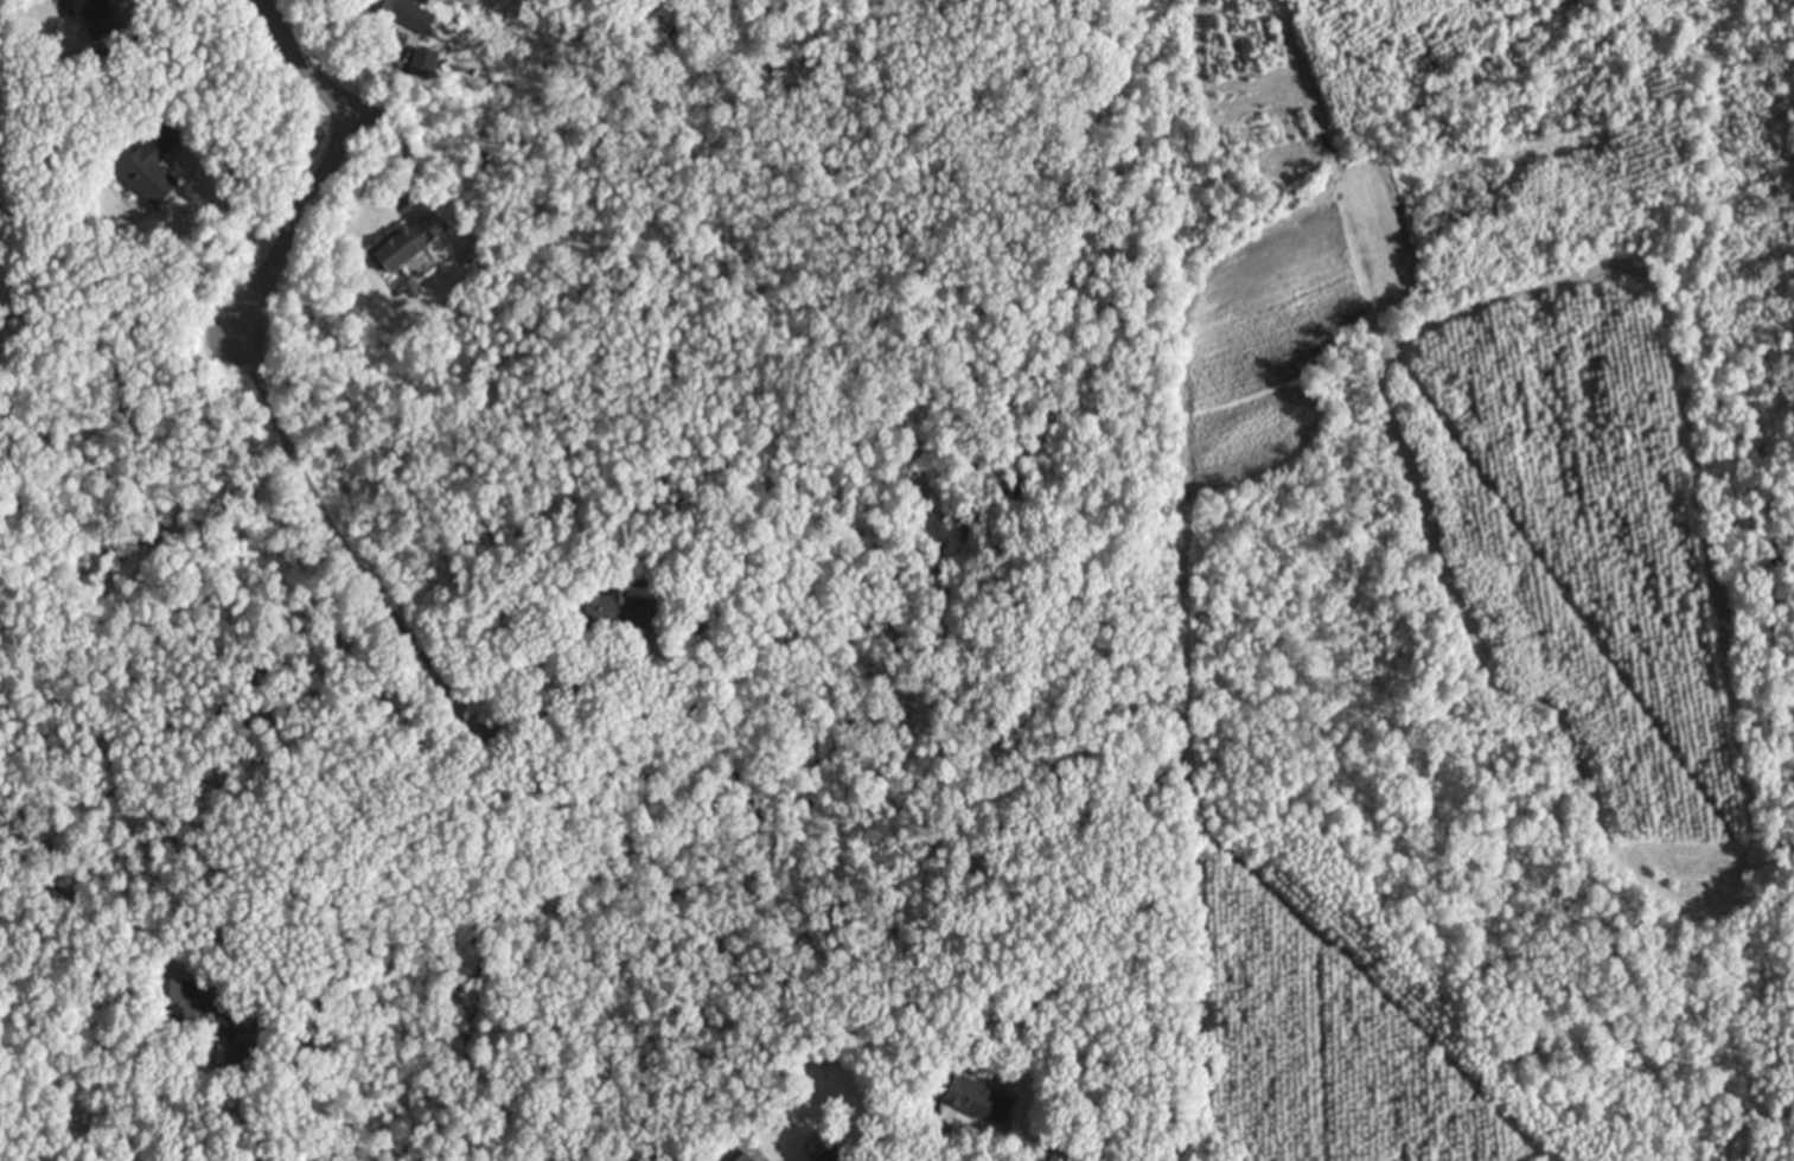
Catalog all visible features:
building: (408, 12)
building: (100, 15)
building: (423, 63)
road: (327, 87)
building: (153, 161)
building: (1295, 200)
road: (296, 227)
building: (409, 238)
road: (339, 527)
building: (625, 605)
building: (704, 617)
road: (555, 704)
road: (339, 811)
building: (198, 1002)
building: (1008, 1003)
building: (247, 1054)
building: (944, 1083)
building: (979, 1096)
building: (831, 1154)
building: (746, 1156)

